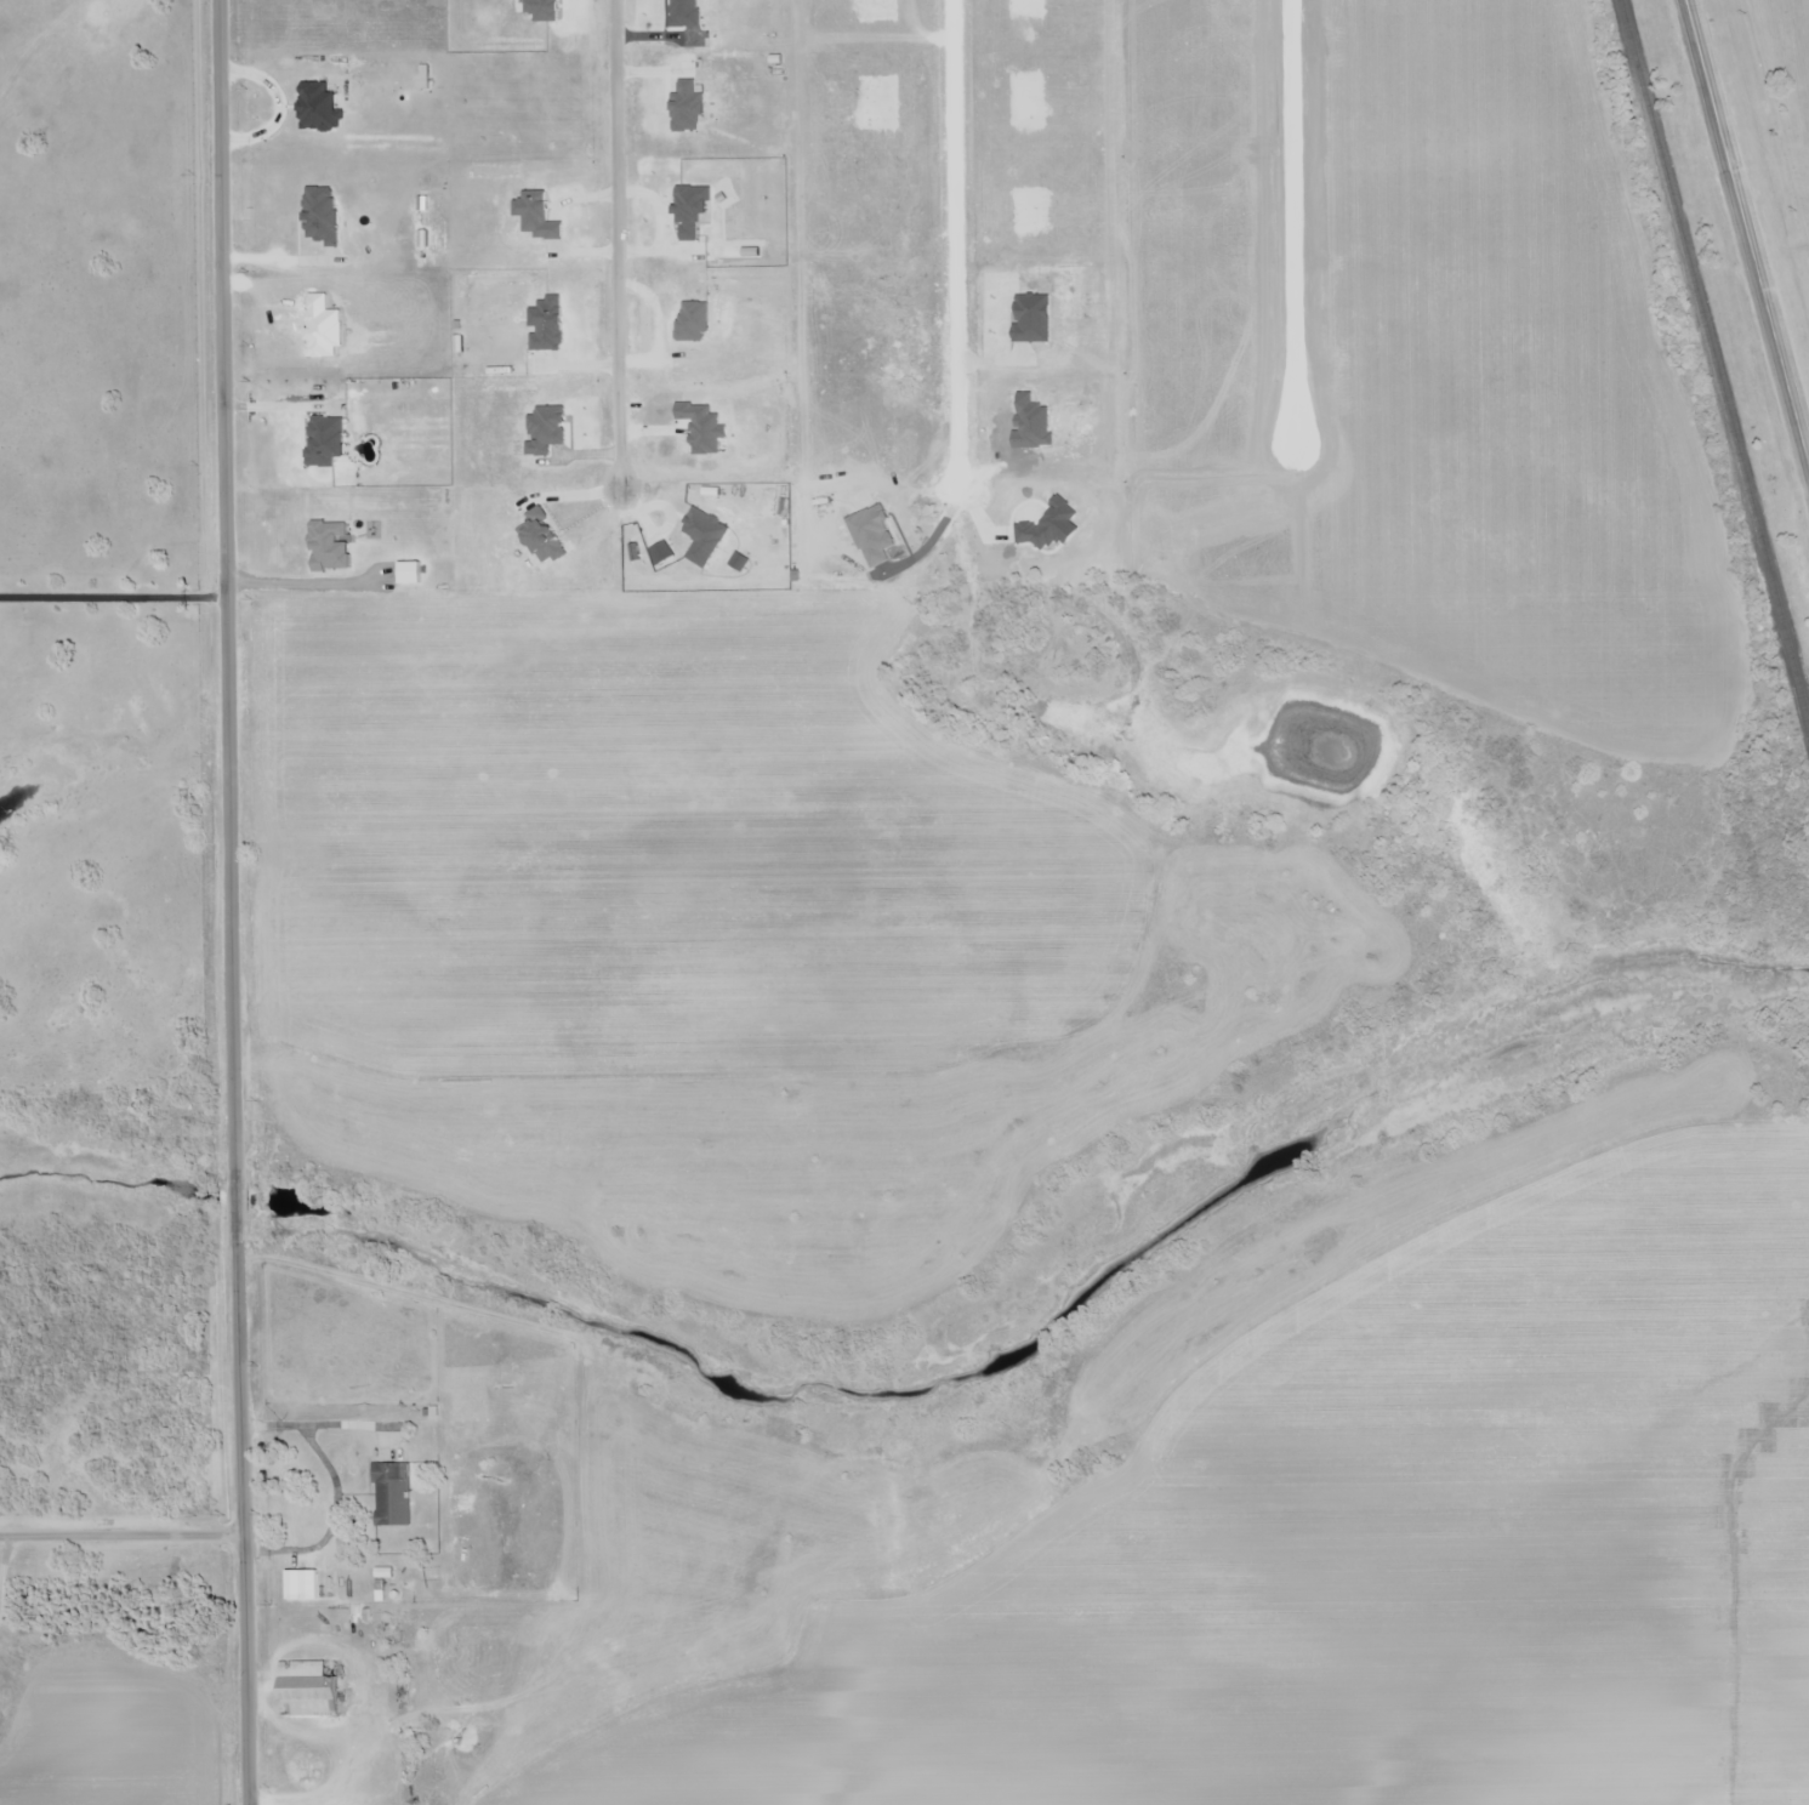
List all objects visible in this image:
park: (1782, 87)
road: (1293, 221)
road: (1747, 233)
road: (955, 243)
road: (618, 245)
railway: (1714, 359)
road: (113, 598)
road: (227, 611)
building: (392, 1494)
road: (238, 1514)
road: (119, 1539)
building: (308, 1689)

